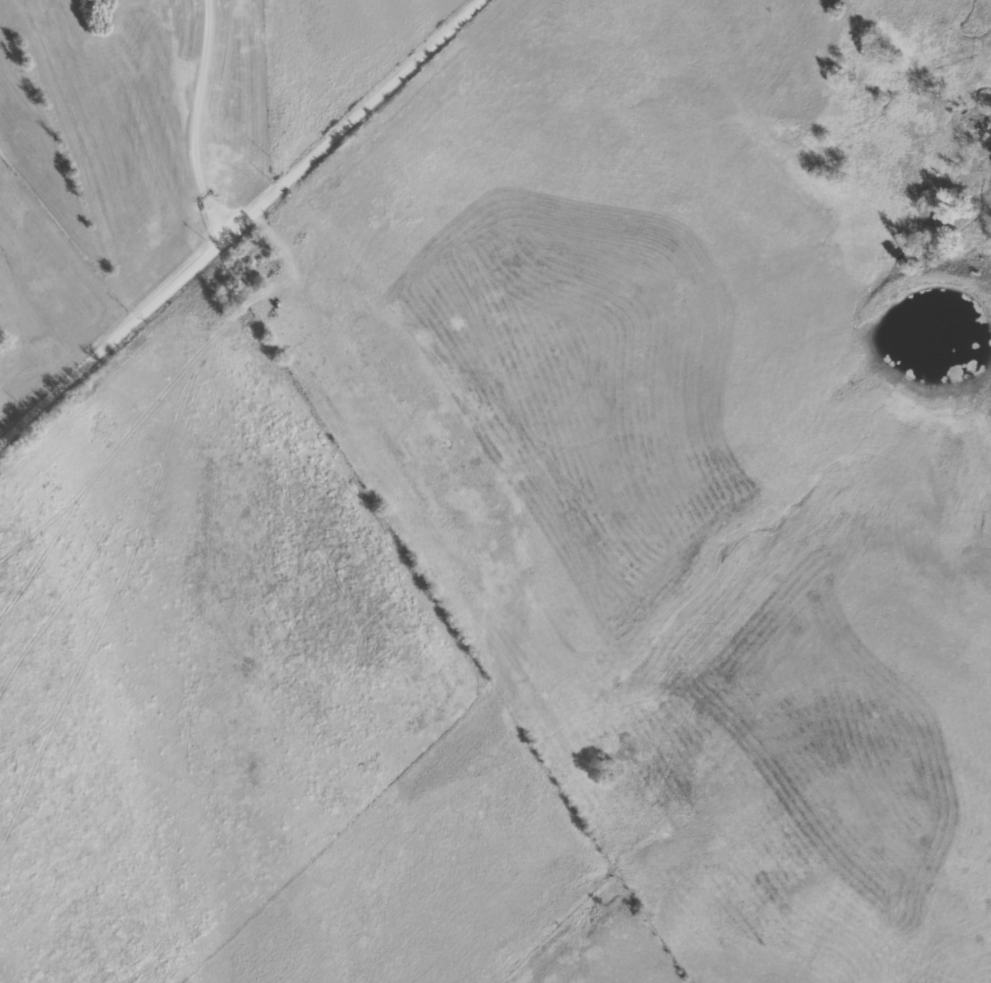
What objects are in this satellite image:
road: (193, 118)
road: (305, 155)
road: (69, 374)

